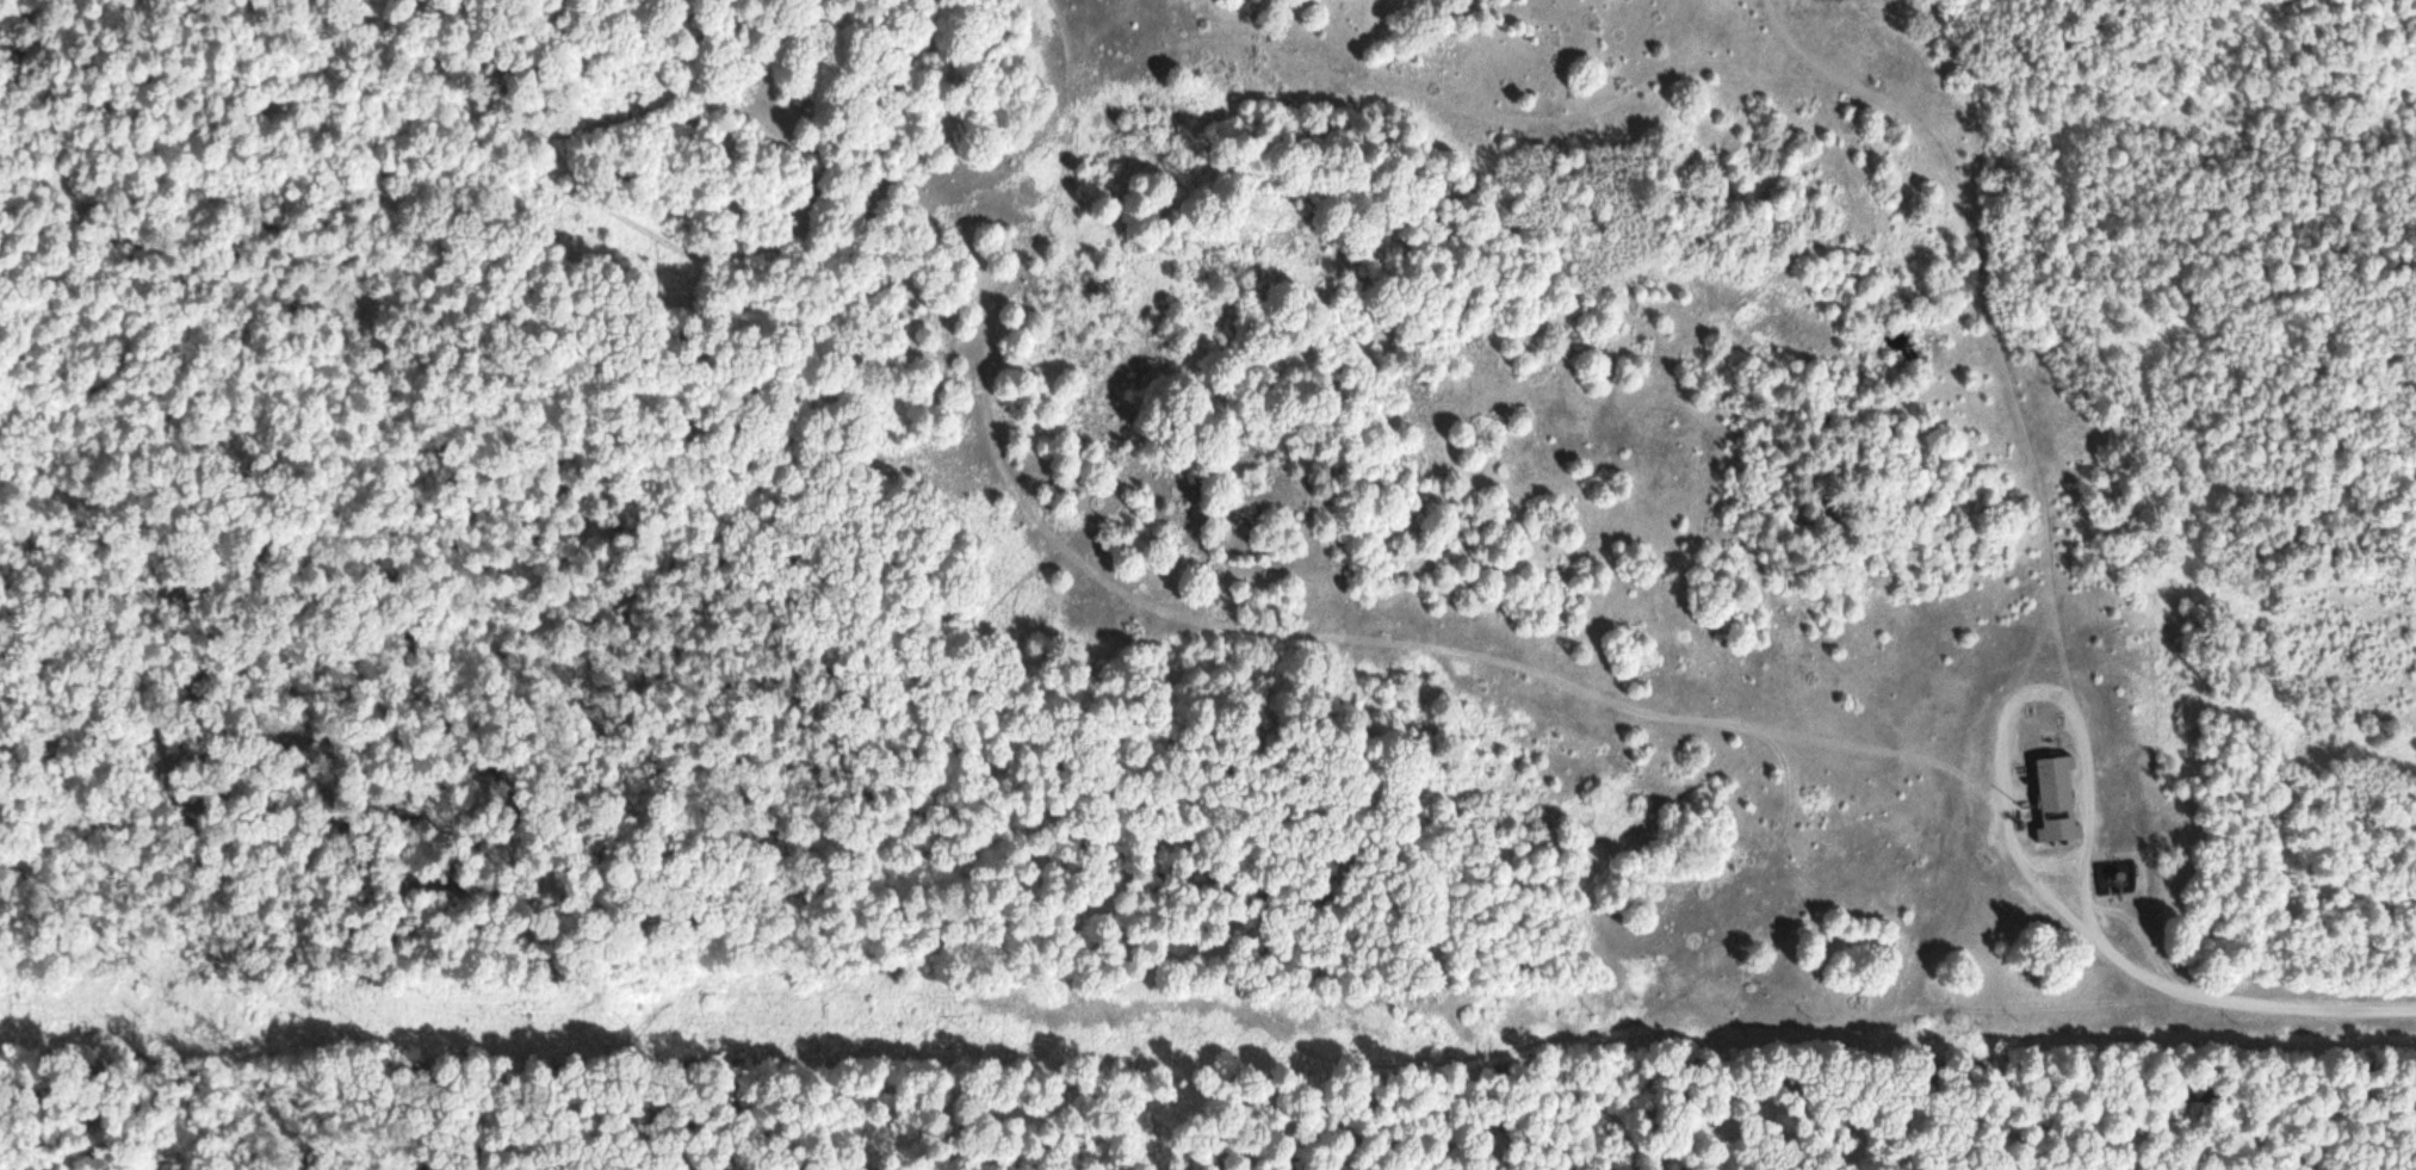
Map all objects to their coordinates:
building: (2058, 799)

